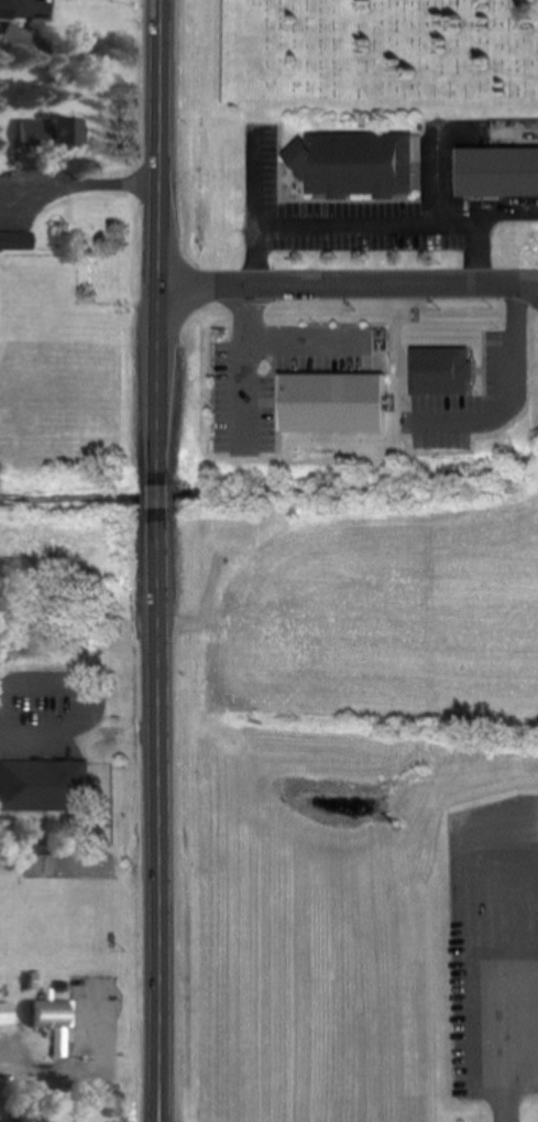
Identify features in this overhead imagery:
building: (17, 37)
park: (381, 56)
building: (45, 133)
building: (349, 165)
building: (495, 172)
road: (79, 185)
building: (15, 241)
road: (160, 242)
road: (349, 284)
building: (337, 405)
crop: (67, 427)
road: (157, 497)
road: (86, 695)
building: (25, 759)
road: (157, 805)
road: (504, 988)
building: (2, 1014)
building: (47, 1021)
road: (157, 1112)
road: (158, 1112)

